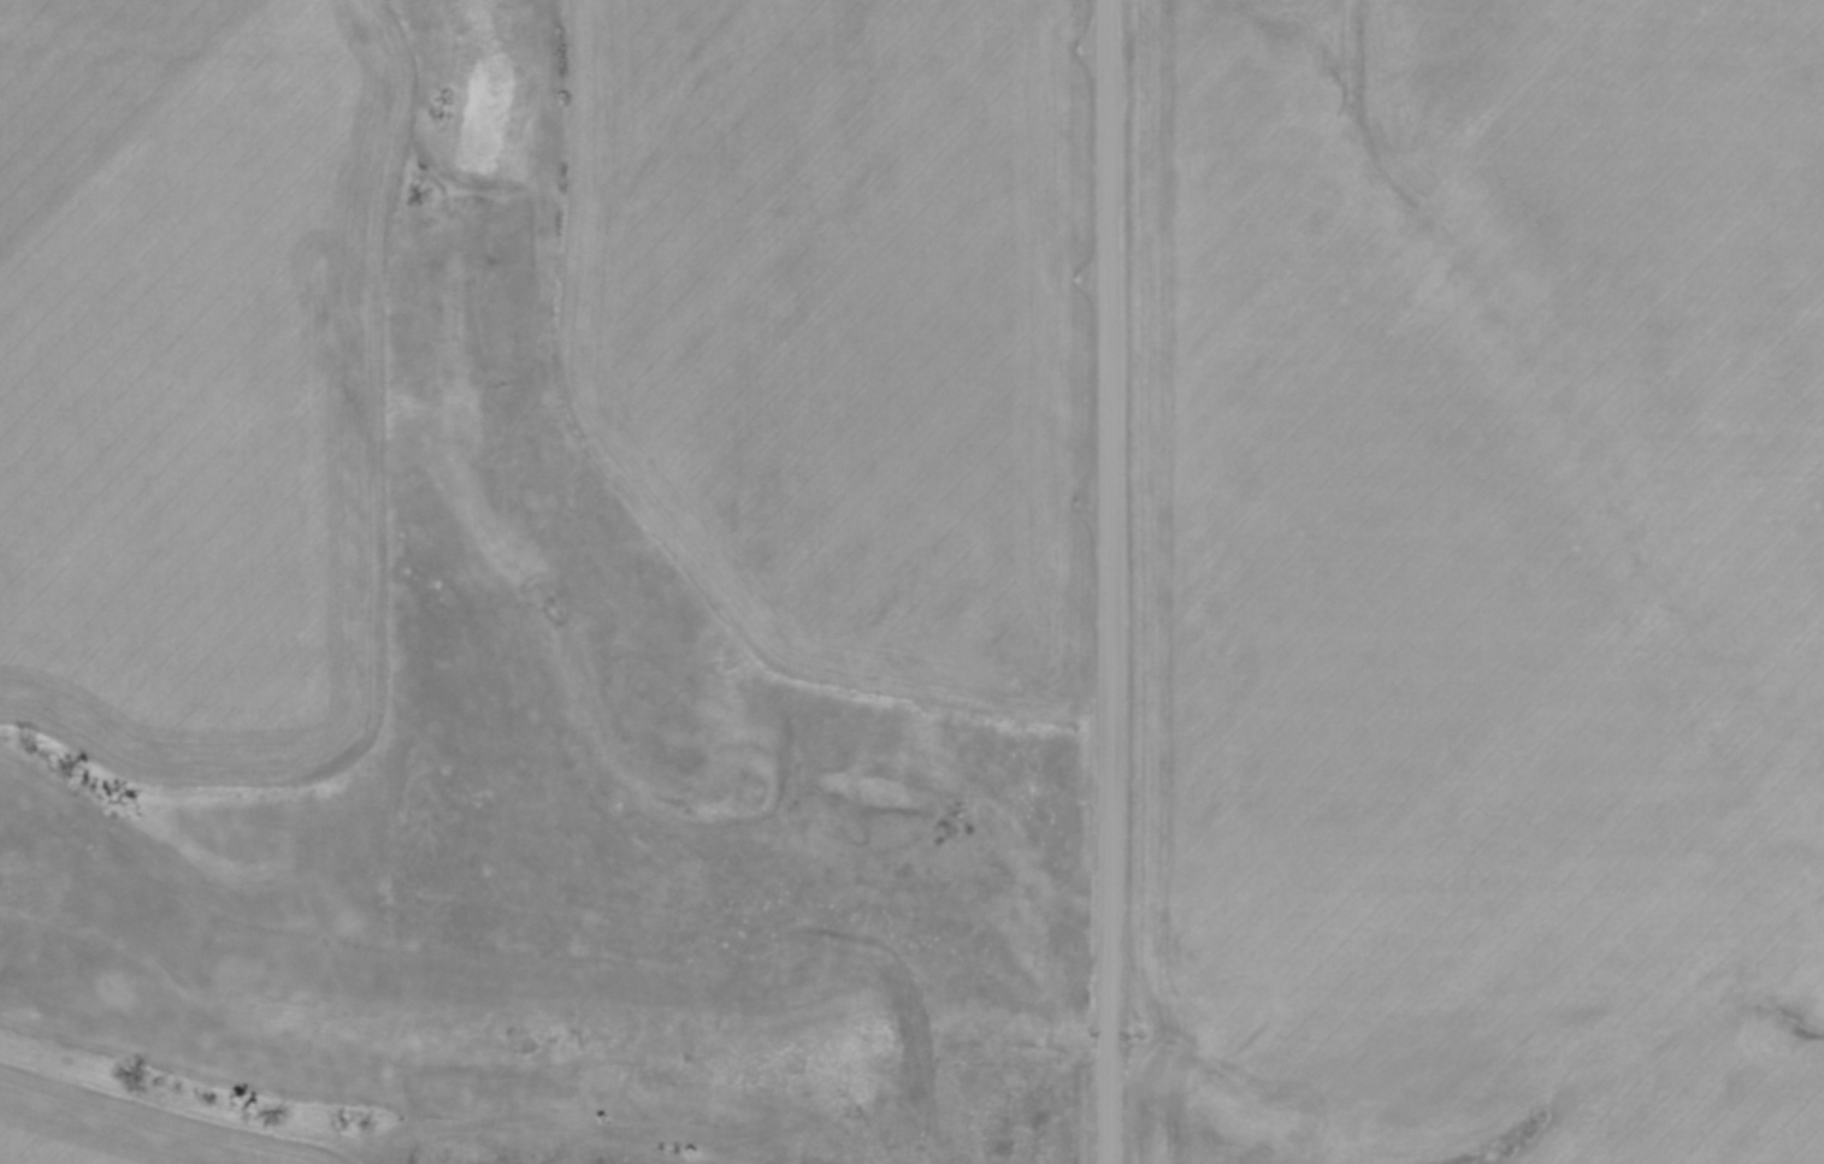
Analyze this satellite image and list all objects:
crop: (850, 325)
crop: (197, 378)
road: (1112, 581)
crop: (1481, 581)
crop: (136, 1129)

